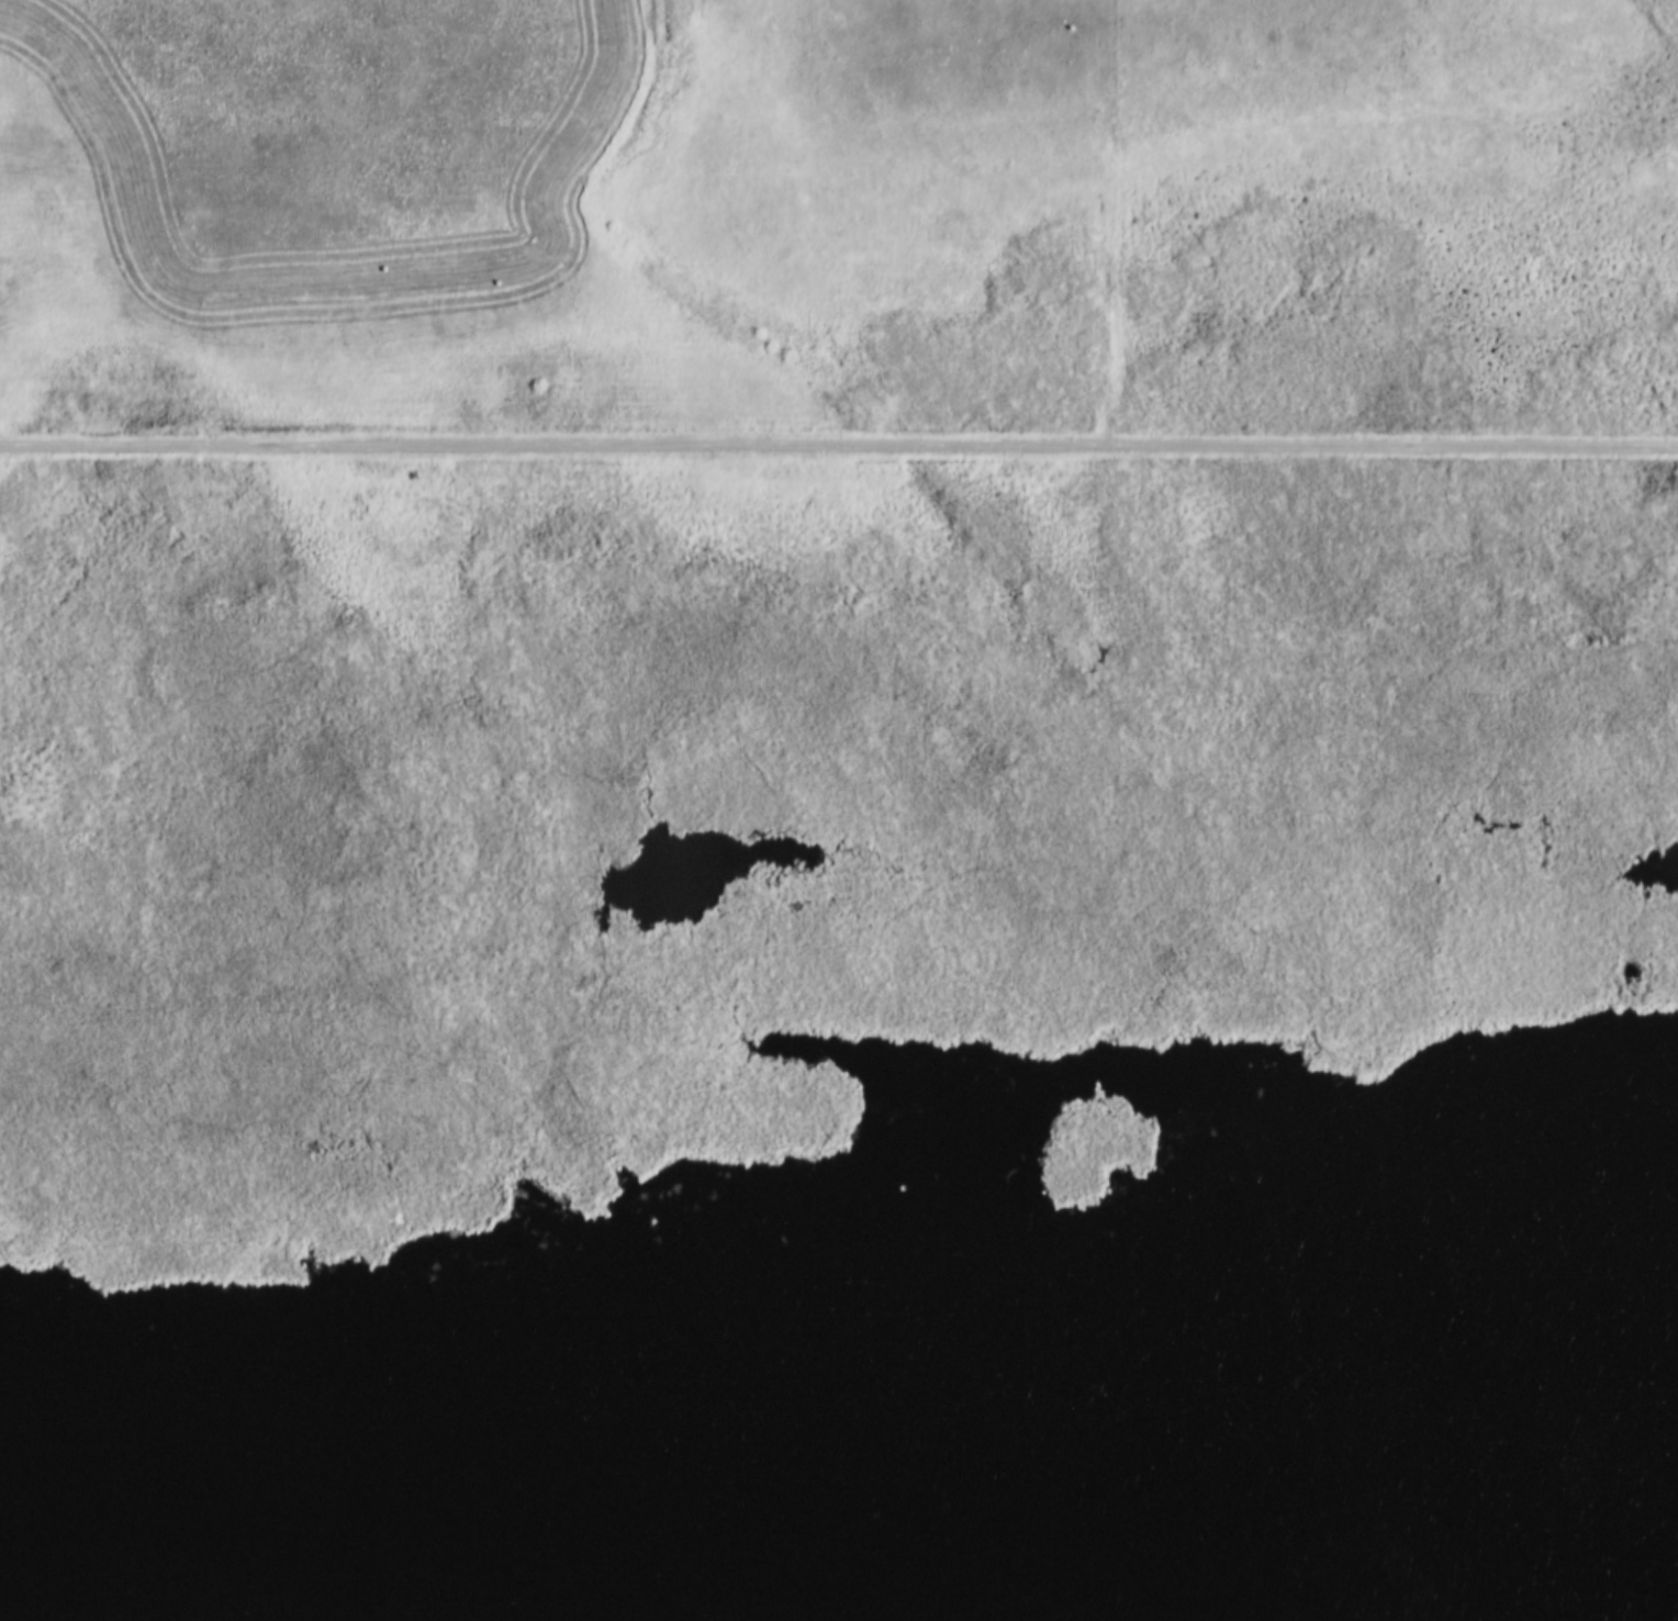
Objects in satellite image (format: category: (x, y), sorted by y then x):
road: (839, 445)

